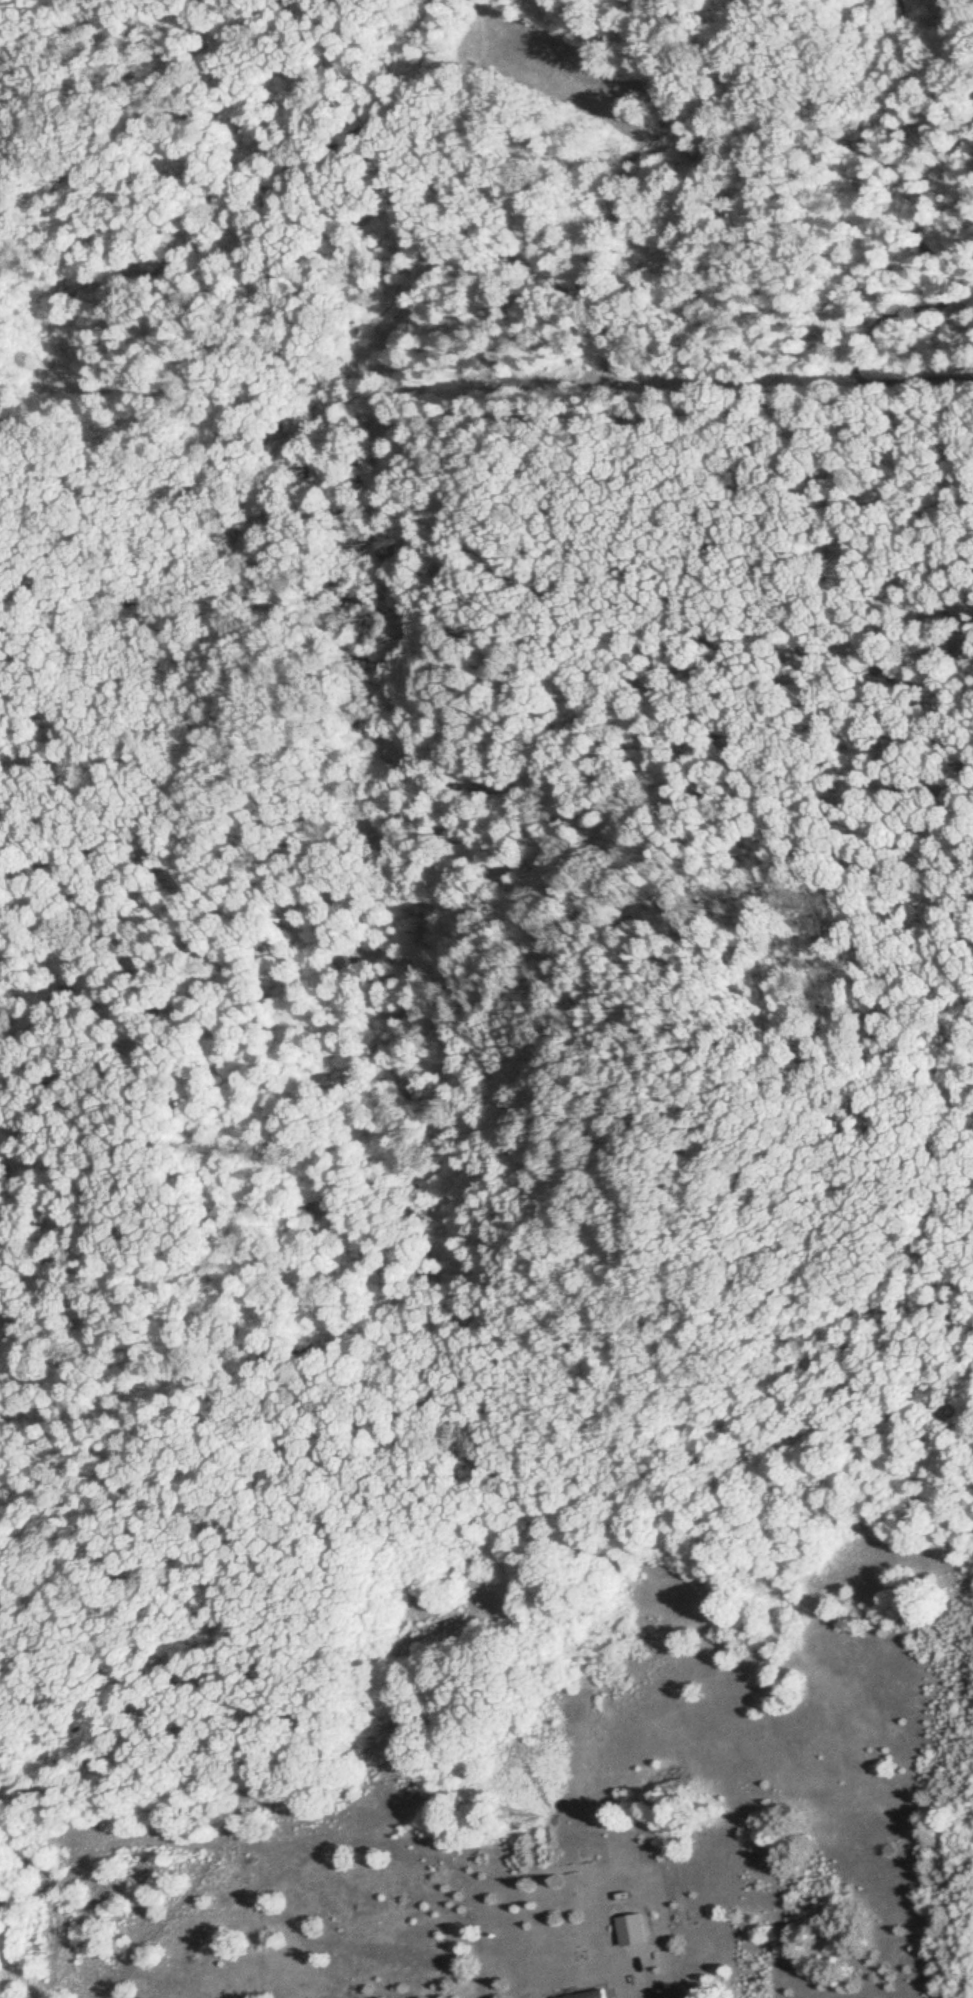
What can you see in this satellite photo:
building: (634, 1928)
building: (590, 1994)

